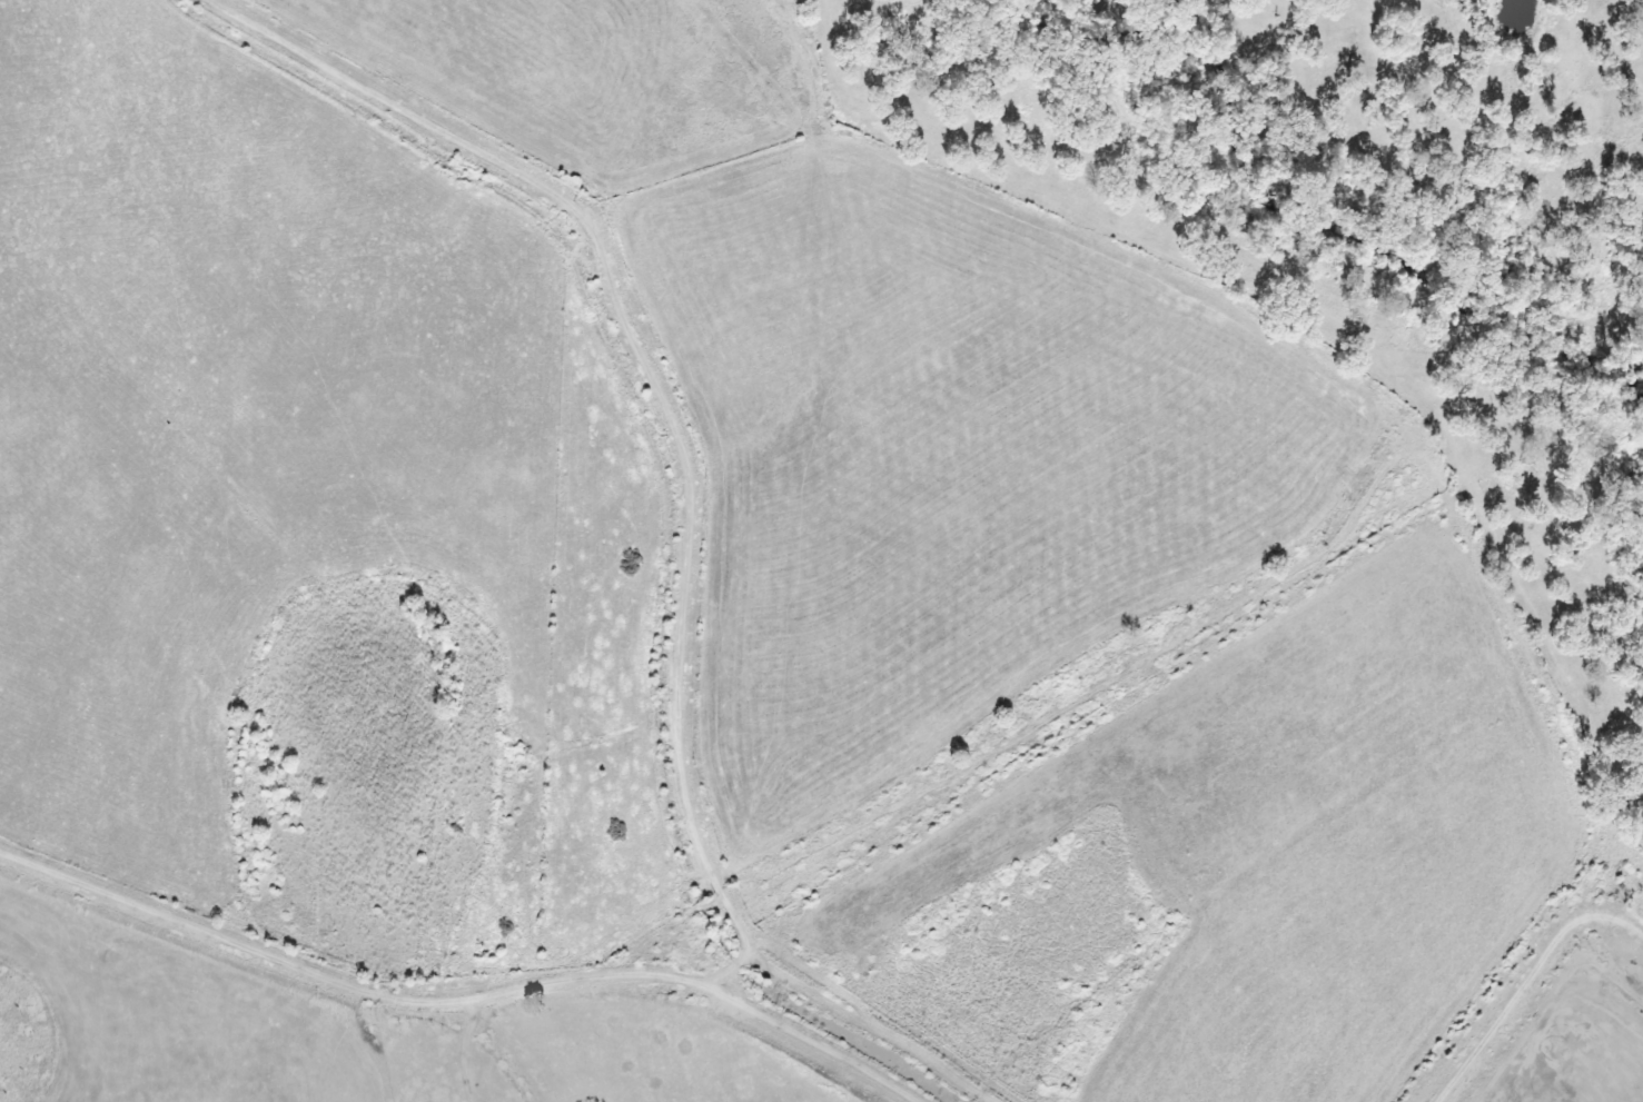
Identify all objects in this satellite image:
building: (1635, 912)
storage tank: (1635, 912)
building: (1641, 919)
storage tank: (1641, 919)

